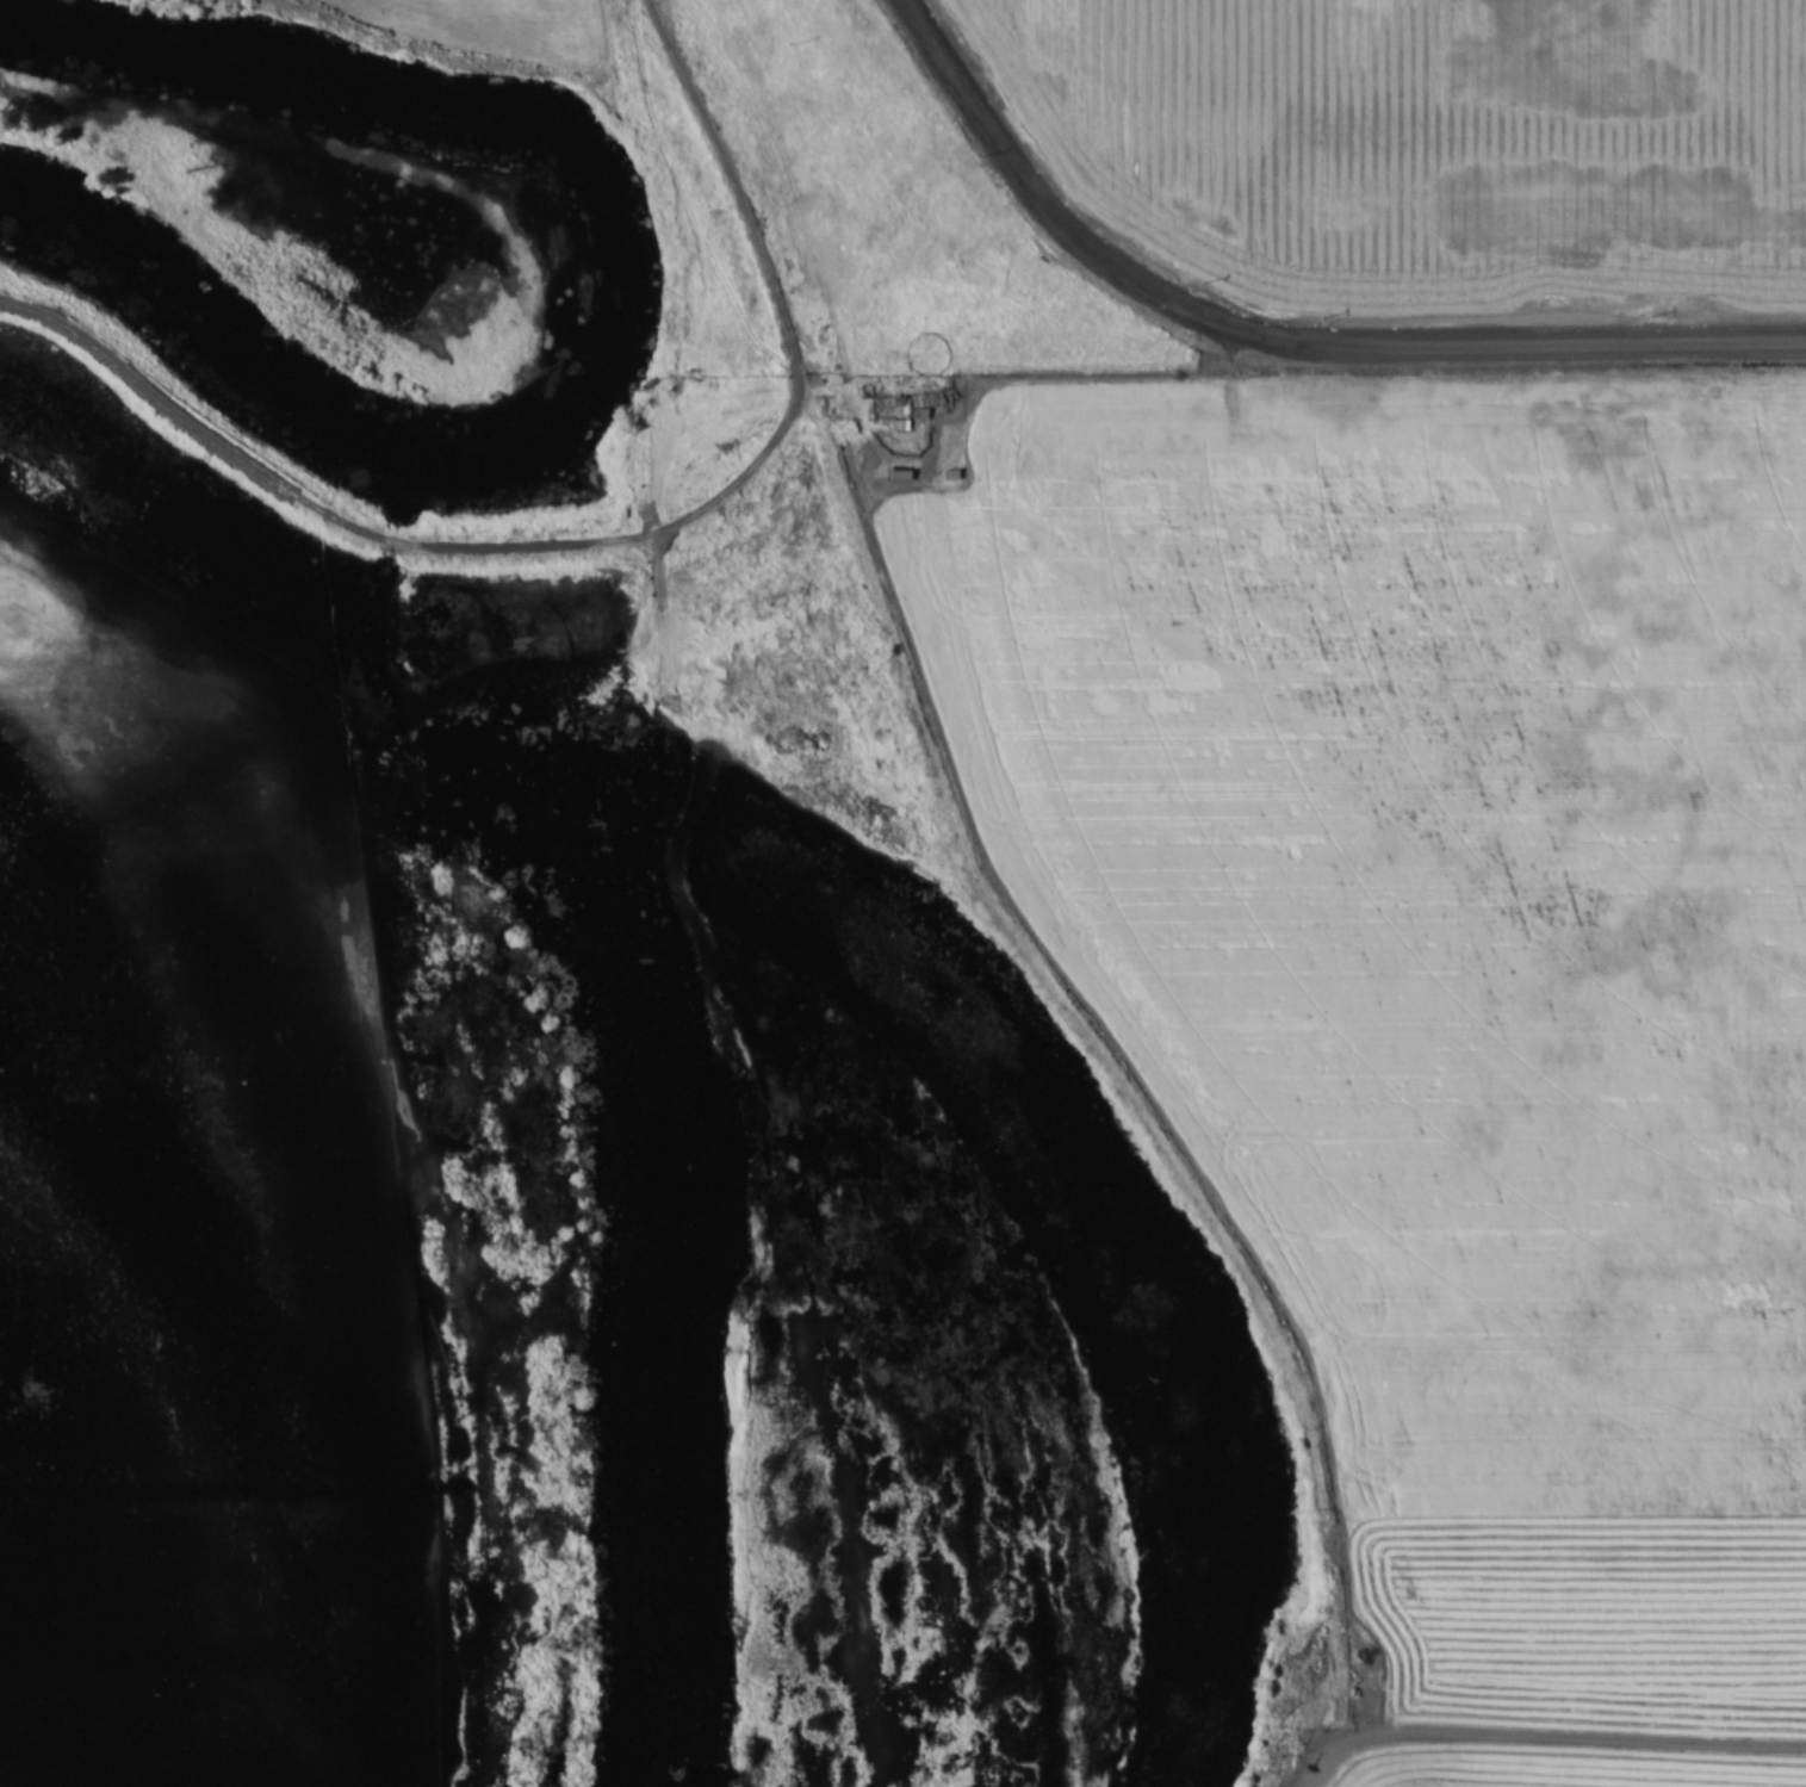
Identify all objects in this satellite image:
crop: (1409, 161)
road: (746, 216)
river: (615, 319)
road: (1267, 341)
building: (900, 472)
river: (1115, 1251)
river: (677, 1252)

